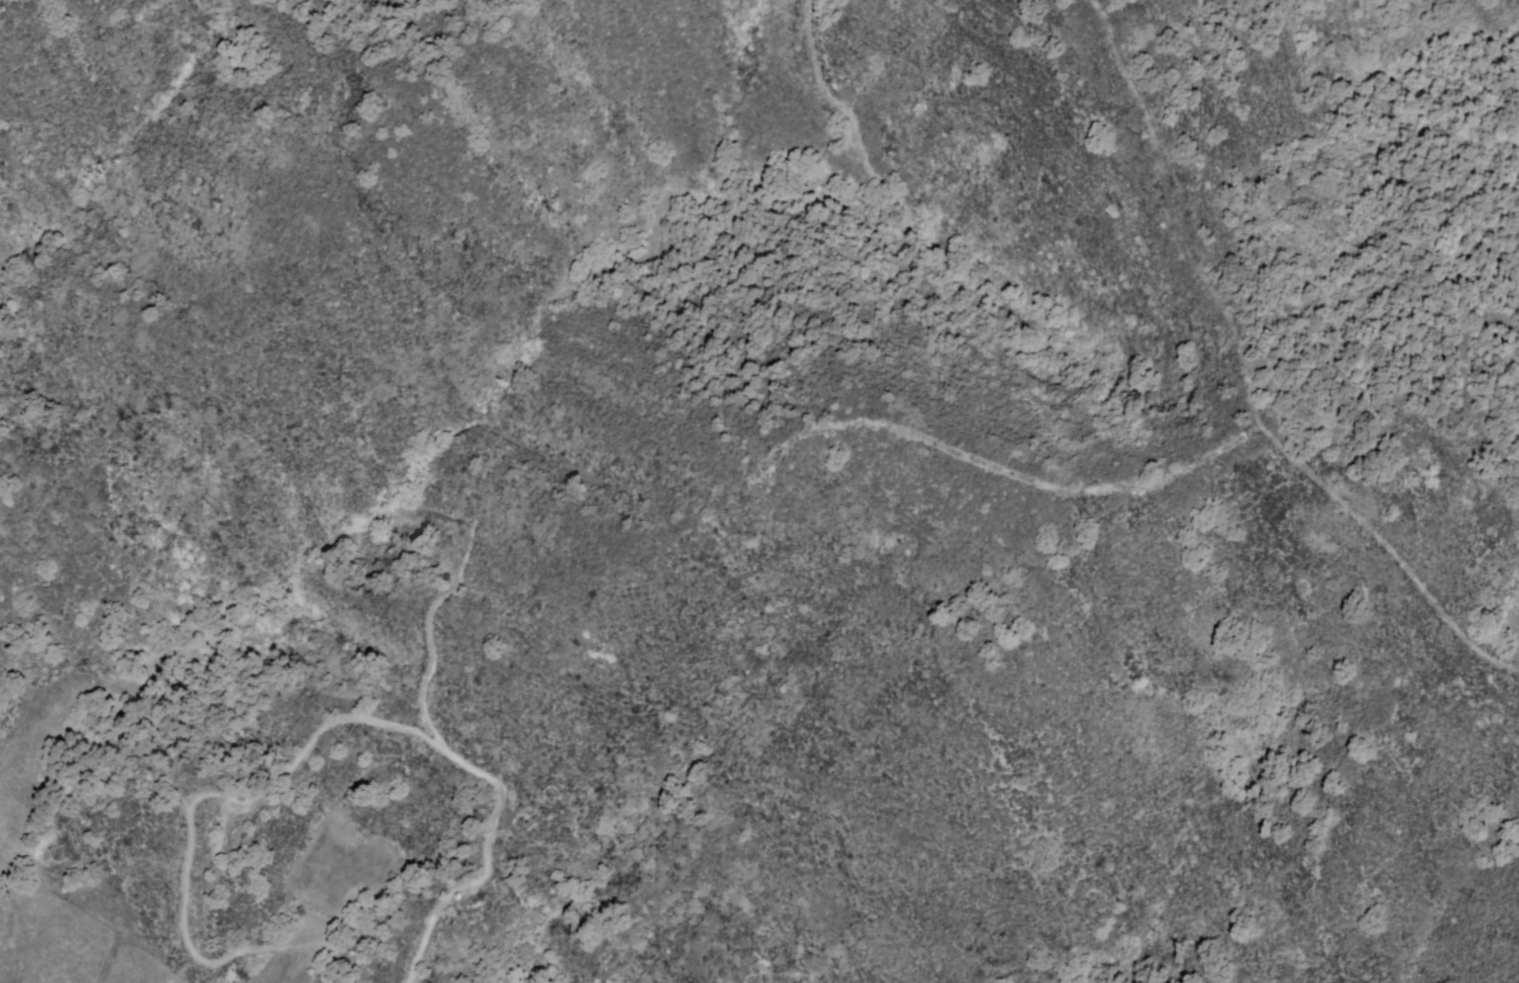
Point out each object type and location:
road: (1232, 384)

